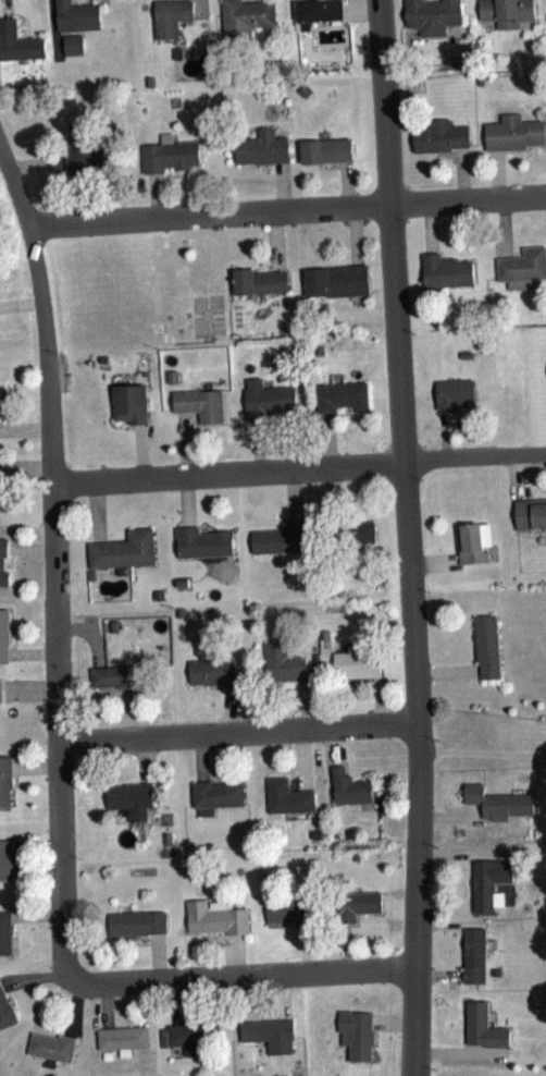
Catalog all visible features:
building: (312, 9)
building: (504, 11)
building: (427, 12)
building: (71, 15)
building: (244, 15)
building: (165, 16)
building: (17, 42)
building: (67, 45)
building: (510, 132)
building: (435, 135)
building: (256, 147)
building: (319, 149)
building: (166, 155)
building: (63, 157)
road: (288, 210)
building: (512, 266)
building: (443, 270)
building: (255, 279)
building: (331, 280)
building: (449, 392)
building: (336, 396)
building: (263, 399)
building: (124, 403)
building: (195, 403)
road: (300, 466)
building: (526, 513)
building: (348, 531)
road: (408, 537)
building: (264, 540)
building: (197, 541)
building: (470, 541)
building: (120, 549)
building: (1, 559)
road: (57, 563)
building: (1, 635)
building: (483, 645)
building: (280, 660)
building: (352, 662)
building: (208, 671)
building: (107, 675)
road: (239, 731)
road: (482, 751)
building: (2, 781)
building: (345, 785)
building: (213, 792)
building: (283, 795)
building: (124, 797)
building: (494, 799)
building: (3, 857)
building: (484, 882)
building: (355, 905)
building: (283, 908)
building: (209, 917)
building: (132, 922)
building: (2, 931)
building: (468, 954)
road: (246, 975)
building: (3, 1013)
building: (479, 1026)
building: (262, 1029)
building: (351, 1032)
building: (190, 1035)
building: (119, 1036)
building: (47, 1044)

